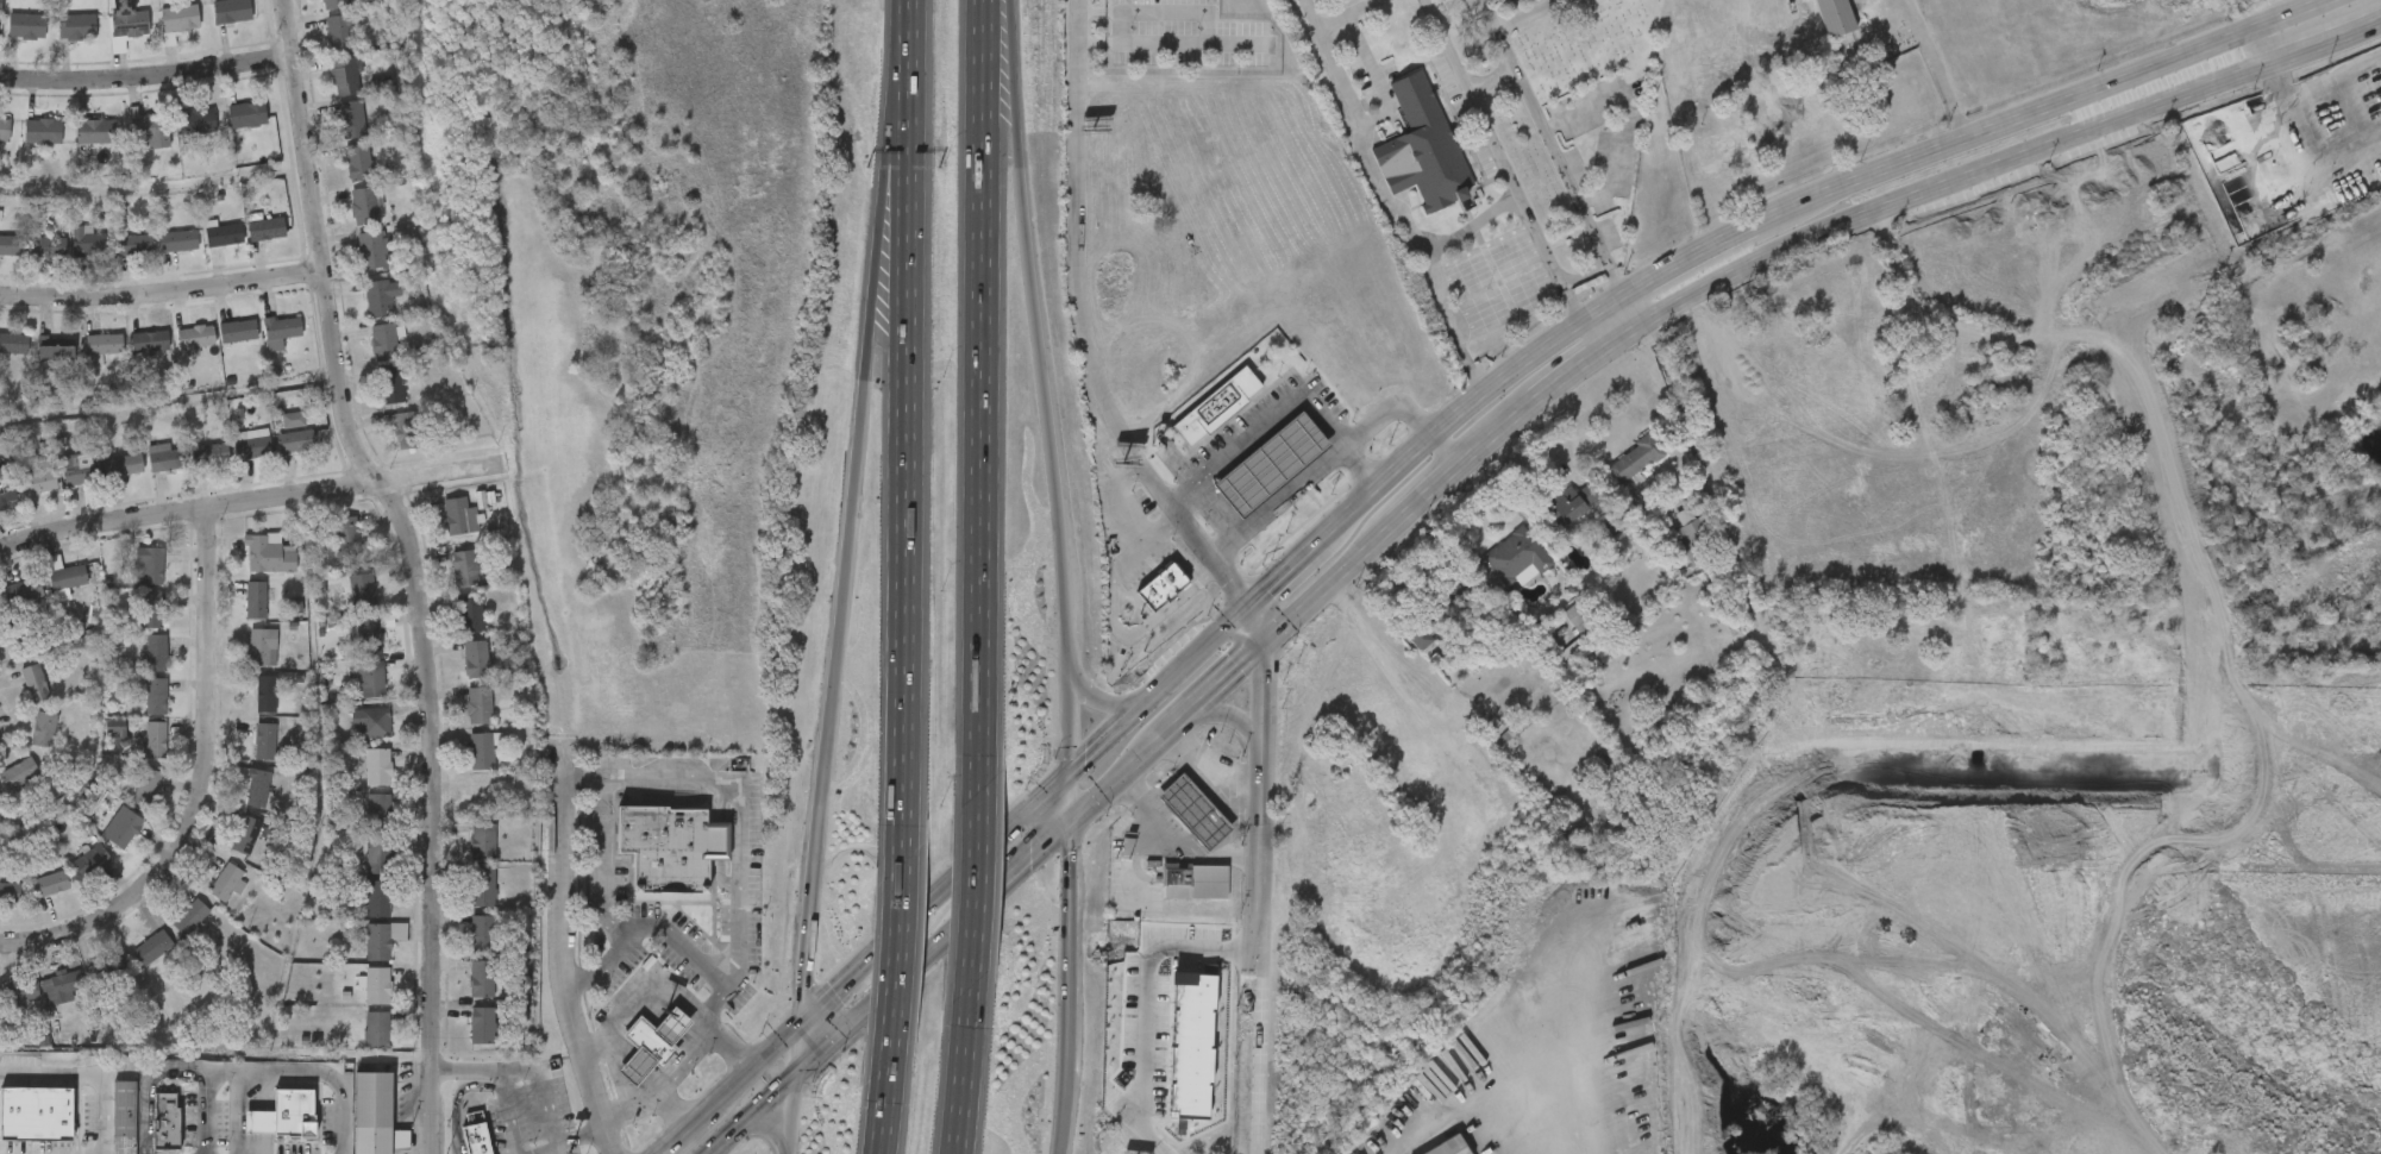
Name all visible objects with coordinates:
building: (334, 4)
building: (1, 6)
building: (232, 11)
road: (1343, 12)
road: (1527, 14)
building: (181, 17)
building: (129, 19)
building: (26, 25)
building: (77, 26)
building: (1812, 27)
road: (1190, 30)
building: (339, 32)
road: (896, 36)
road: (1936, 70)
building: (345, 75)
road: (1374, 75)
road: (146, 77)
road: (1490, 77)
road: (2084, 94)
road: (2279, 99)
building: (248, 113)
park: (1635, 117)
building: (352, 118)
building: (196, 120)
road: (2125, 126)
building: (5, 127)
road: (1541, 127)
building: (43, 128)
building: (149, 128)
building: (96, 132)
road: (1492, 138)
building: (1423, 150)
building: (358, 161)
road: (1373, 173)
road: (884, 175)
building: (364, 205)
building: (267, 227)
road: (1471, 227)
building: (225, 233)
building: (178, 239)
road: (1731, 239)
building: (90, 243)
building: (136, 243)
building: (10, 244)
building: (48, 245)
building: (372, 249)
road: (1605, 263)
road: (1585, 274)
road: (2194, 278)
road: (1618, 282)
road: (1564, 283)
road: (162, 290)
road: (2155, 291)
building: (381, 296)
road: (1661, 318)
road: (1584, 324)
road: (1082, 327)
building: (282, 328)
building: (238, 330)
building: (196, 335)
building: (150, 340)
building: (383, 340)
building: (13, 341)
building: (104, 343)
building: (56, 347)
road: (1462, 352)
road: (1474, 380)
building: (390, 383)
building: (1948, 384)
road: (1045, 385)
road: (1485, 391)
building: (1912, 395)
road: (982, 396)
building: (1215, 408)
building: (294, 420)
building: (407, 428)
road: (1340, 438)
building: (295, 439)
road: (1552, 444)
building: (253, 445)
road: (1235, 450)
building: (211, 452)
road: (1334, 454)
road: (1697, 454)
building: (165, 457)
building: (1635, 458)
building: (124, 463)
building: (1268, 465)
gas station: (1268, 465)
building: (77, 466)
road: (896, 468)
building: (37, 481)
building: (6, 490)
road: (251, 501)
road: (1934, 501)
building: (1569, 504)
road: (1120, 508)
building: (456, 514)
building: (346, 533)
building: (1692, 538)
road: (1146, 547)
building: (268, 551)
building: (1516, 556)
road: (1301, 557)
building: (152, 564)
road: (414, 566)
building: (464, 567)
building: (65, 573)
building: (1161, 588)
building: (24, 589)
building: (362, 590)
building: (256, 597)
traffic signals: (1246, 607)
building: (152, 609)
building: (471, 612)
road: (2260, 612)
building: (1580, 616)
road: (2214, 623)
road: (1145, 628)
building: (370, 632)
road: (1994, 635)
building: (1421, 636)
traffic signals: (1273, 641)
building: (263, 646)
building: (1972, 648)
road: (837, 650)
road: (1201, 651)
building: (1925, 651)
building: (157, 652)
building: (476, 657)
building: (1803, 666)
building: (371, 678)
building: (35, 682)
building: (267, 692)
building: (156, 695)
road: (1101, 703)
building: (478, 704)
road: (1818, 709)
road: (1238, 713)
building: (375, 721)
building: (44, 727)
building: (115, 727)
road: (1113, 734)
building: (156, 739)
building: (265, 740)
building: (482, 750)
building: (378, 766)
road: (1210, 766)
building: (19, 772)
traffic signals: (1071, 772)
road: (689, 780)
road: (2275, 783)
building: (255, 784)
building: (146, 785)
road: (199, 785)
road: (1071, 797)
building: (378, 809)
building: (1193, 809)
gas station: (1193, 809)
traffic signals: (1071, 822)
building: (126, 828)
building: (246, 834)
building: (482, 840)
road: (1178, 841)
building: (670, 846)
road: (1038, 853)
road: (1749, 853)
building: (378, 854)
building: (92, 860)
road: (969, 867)
road: (1258, 874)
building: (227, 880)
building: (1195, 880)
building: (49, 883)
road: (1753, 884)
building: (482, 886)
road: (969, 890)
building: (11, 891)
road: (560, 896)
building: (377, 898)
road: (1825, 909)
road: (1910, 912)
building: (190, 916)
building: (482, 933)
building: (383, 937)
building: (153, 947)
road: (931, 953)
road: (1822, 953)
road: (883, 961)
road: (607, 962)
building: (111, 966)
building: (482, 978)
building: (378, 984)
building: (62, 986)
road: (1069, 987)
building: (20, 990)
road: (833, 992)
road: (1821, 1004)
road: (619, 1016)
building: (672, 1023)
gas station: (672, 1023)
traffic signals: (801, 1023)
building: (482, 1024)
building: (377, 1028)
building: (650, 1041)
building: (1192, 1042)
road: (797, 1050)
road: (826, 1050)
road: (1802, 1050)
building: (635, 1066)
gas station: (635, 1066)
road: (754, 1066)
road: (958, 1071)
road: (87, 1073)
road: (283, 1073)
road: (497, 1077)
road: (541, 1077)
traffic signals: (795, 1079)
road: (1152, 1080)
road: (146, 1084)
road: (647, 1092)
road: (1819, 1096)
road: (206, 1098)
road: (1731, 1102)
road: (456, 1103)
road: (1562, 1104)
road: (671, 1108)
road: (870, 1108)
building: (36, 1112)
building: (371, 1112)
road: (76, 1114)
building: (283, 1114)
building: (124, 1116)
road: (751, 1116)
road: (791, 1116)
building: (165, 1118)
road: (507, 1118)
road: (767, 1123)
road: (684, 1133)
building: (476, 1137)
road: (1818, 1144)
building: (1447, 1147)
road: (549, 1148)

